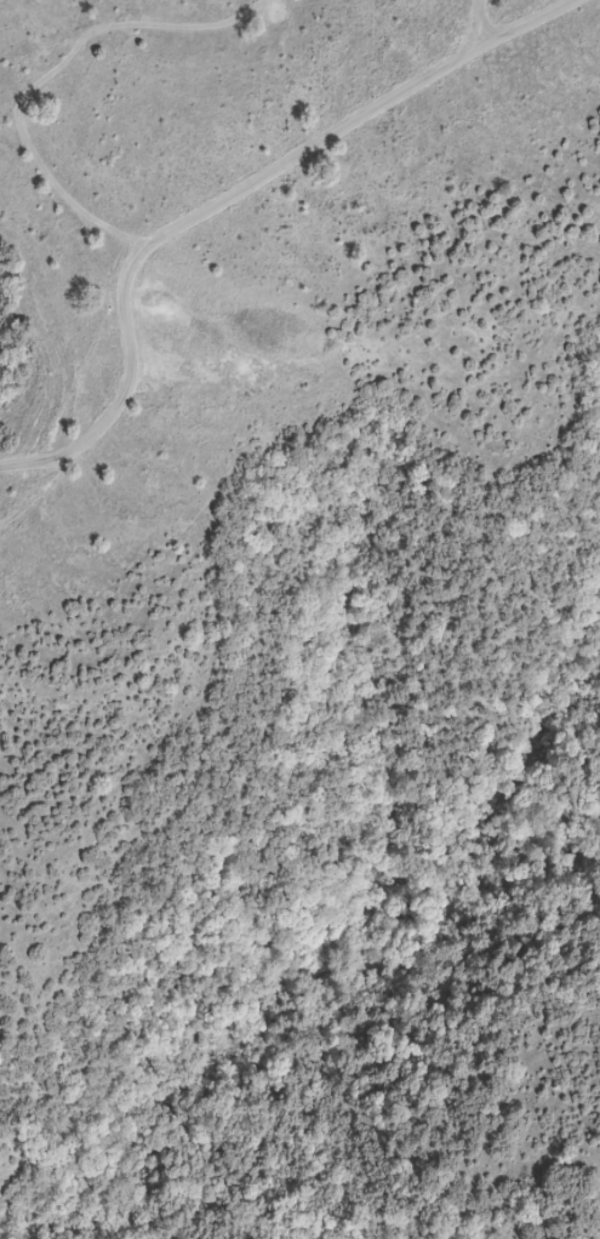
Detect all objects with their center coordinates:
road: (487, 24)
road: (233, 202)

